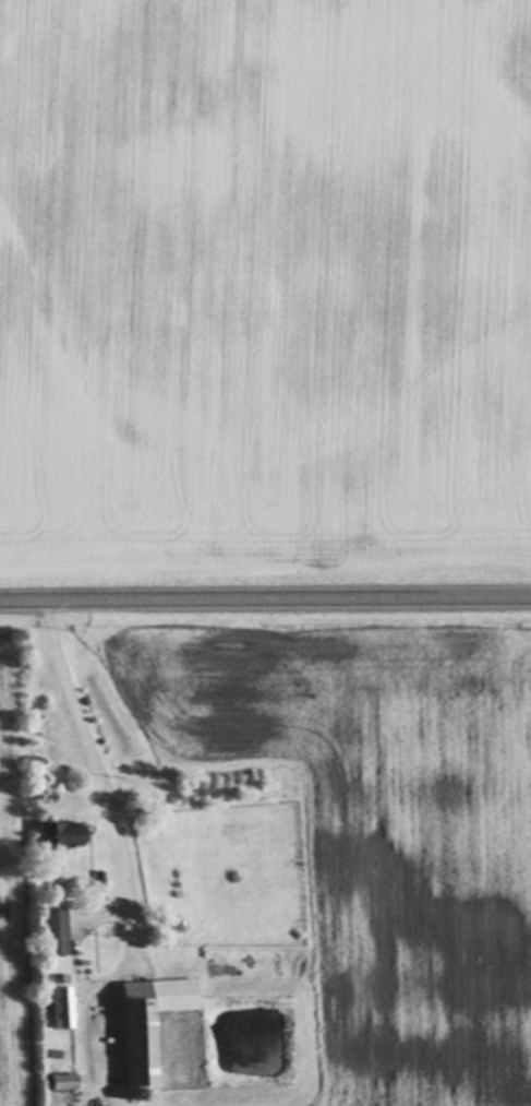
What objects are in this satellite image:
road: (265, 599)
road: (98, 781)
building: (62, 836)
building: (53, 930)
building: (59, 1010)
building: (147, 1025)
building: (62, 1084)

